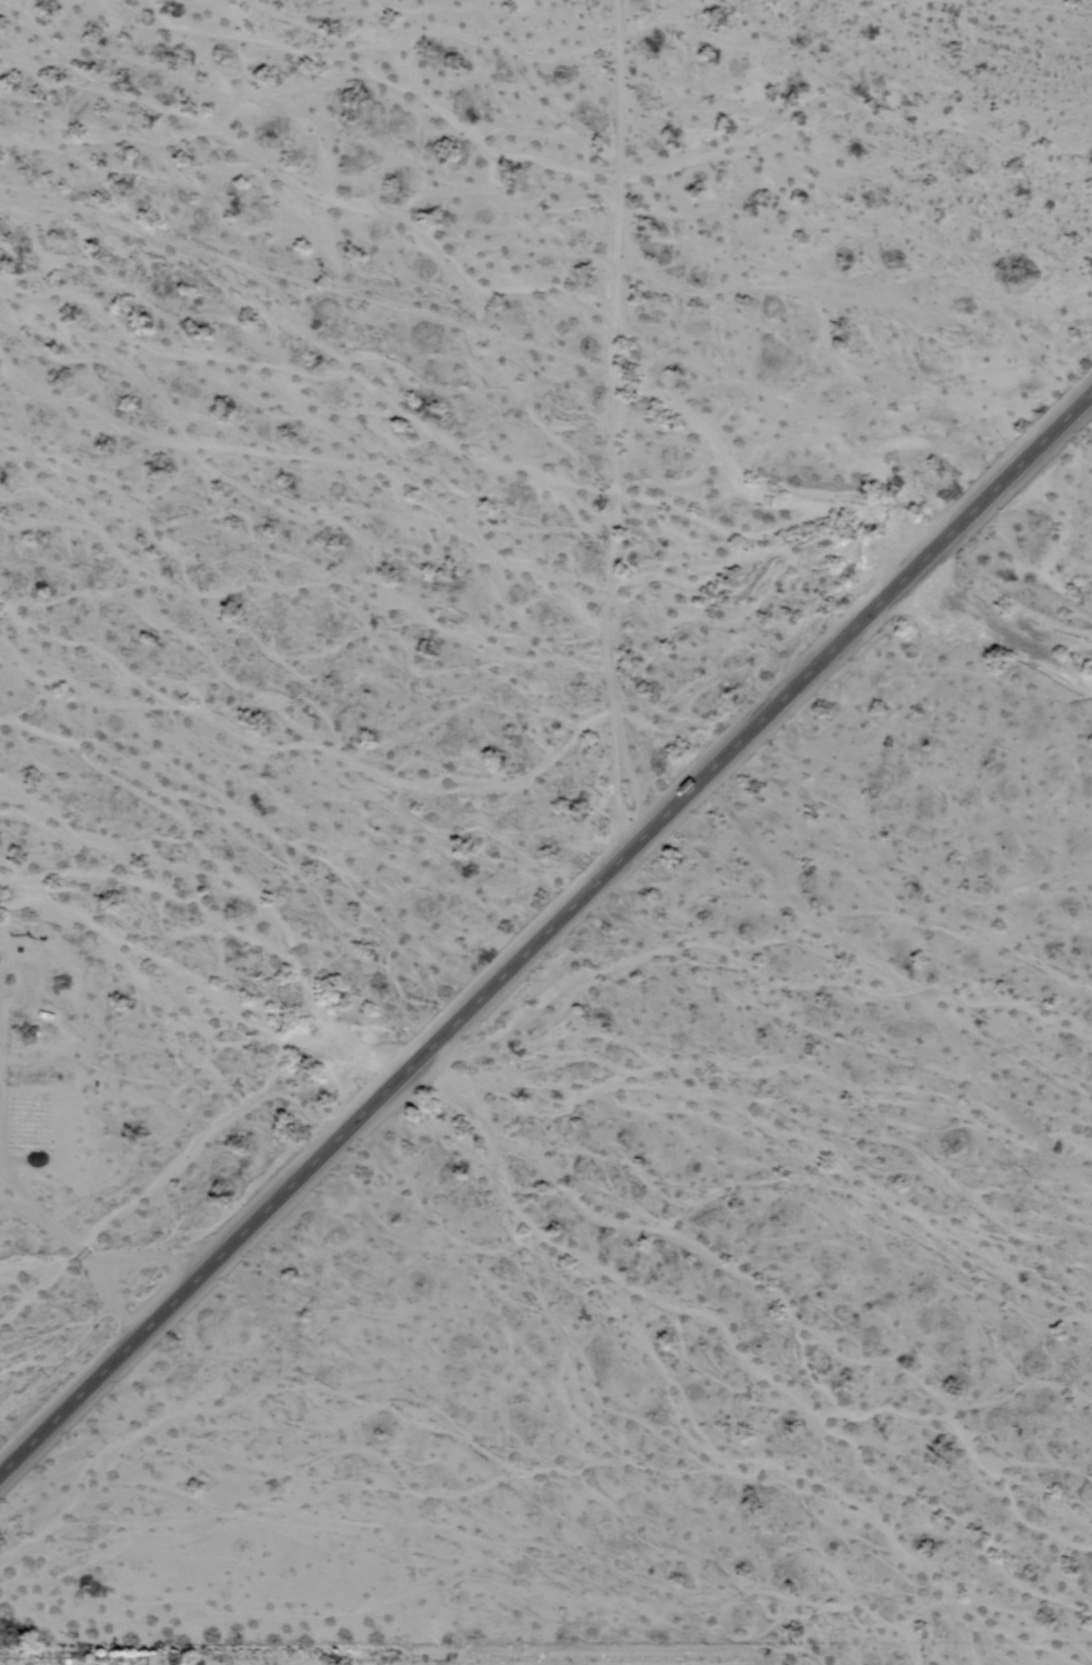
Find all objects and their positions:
road: (621, 419)
road: (547, 931)

